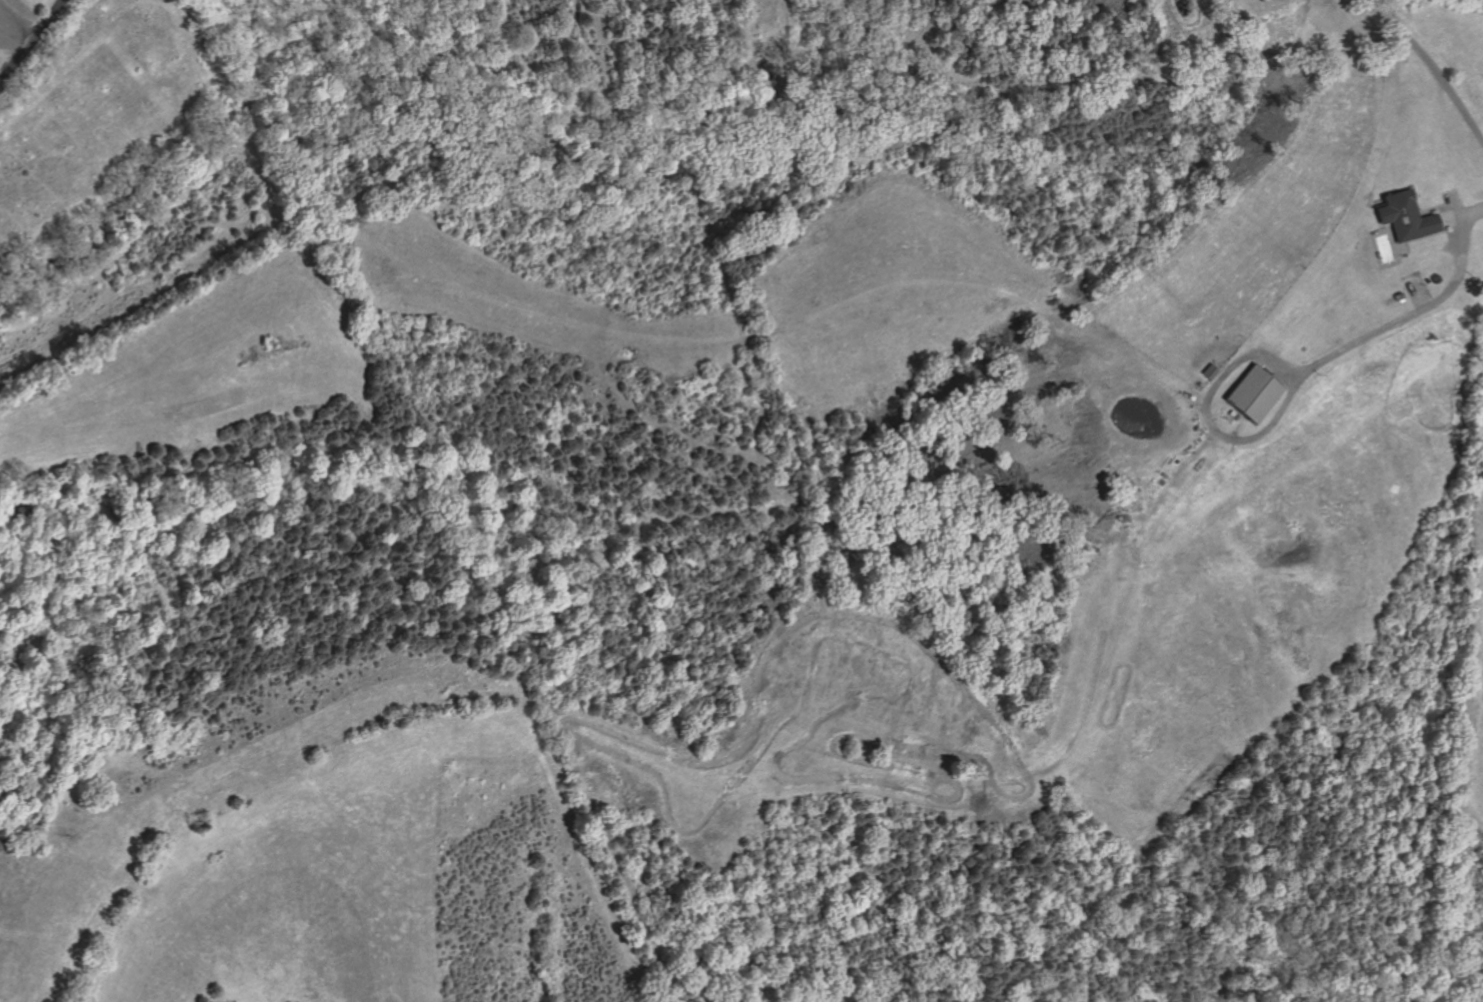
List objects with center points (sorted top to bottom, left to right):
building: (1258, 0)
building: (1265, 0)
road: (1279, 3)
road: (3, 22)
road: (15, 27)
road: (31, 40)
road: (1432, 67)
road: (1451, 206)
road: (1424, 208)
building: (1403, 216)
road: (1448, 219)
road: (1435, 232)
road: (1425, 236)
building: (1397, 295)
road: (1417, 311)
building: (1208, 372)
building: (1252, 394)
building: (1232, 415)
road: (1205, 417)
road: (916, 797)

